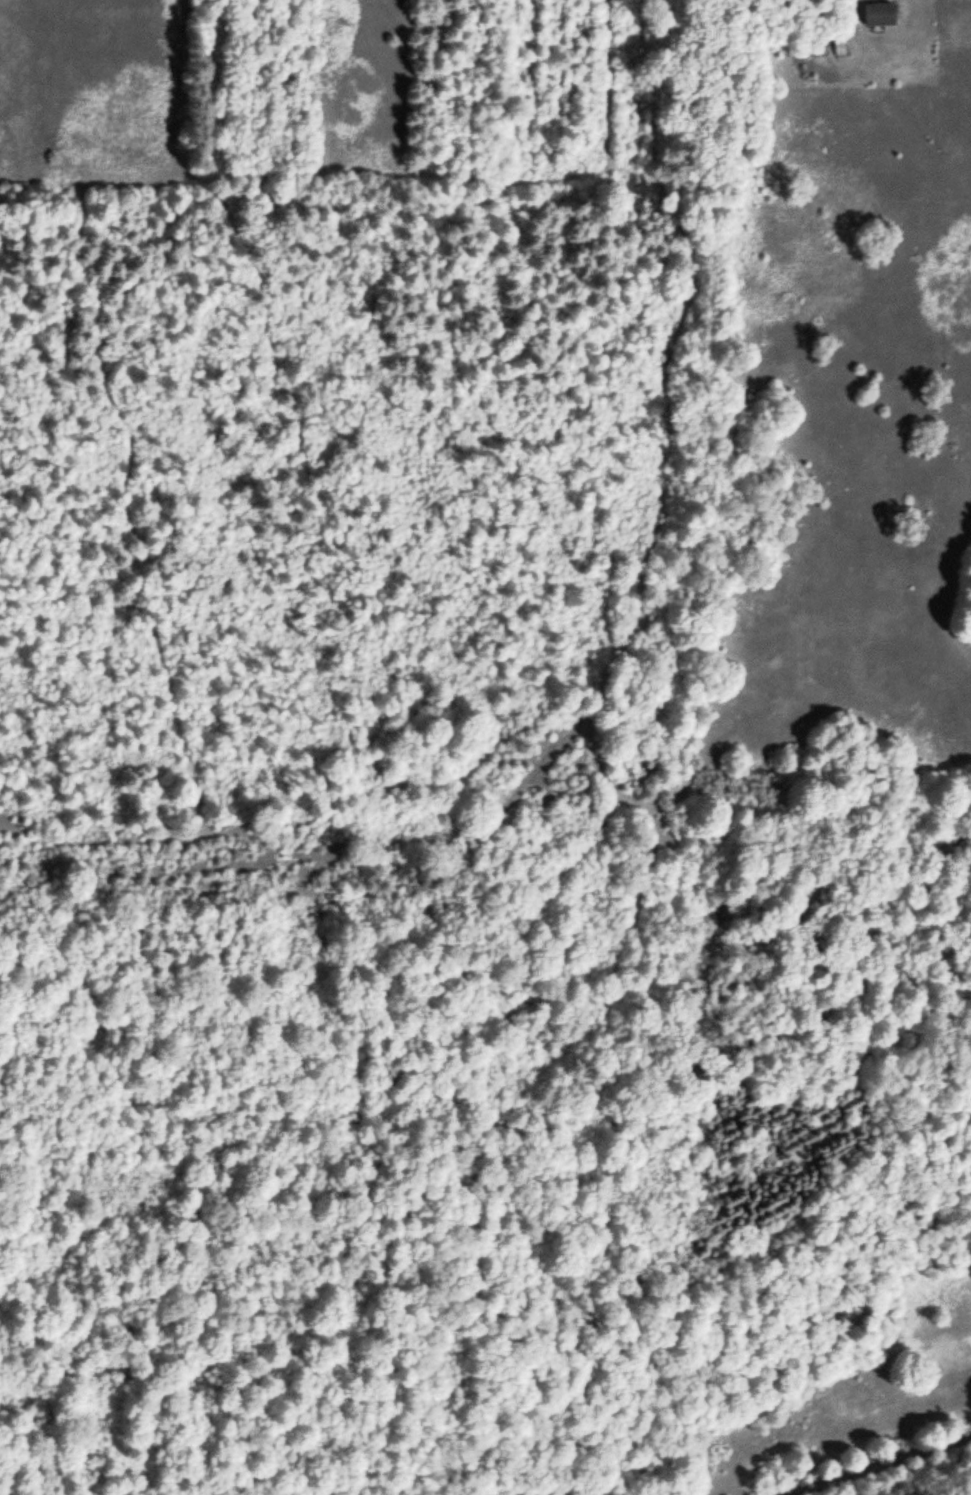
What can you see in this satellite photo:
building: (883, 15)
road: (876, 1467)

